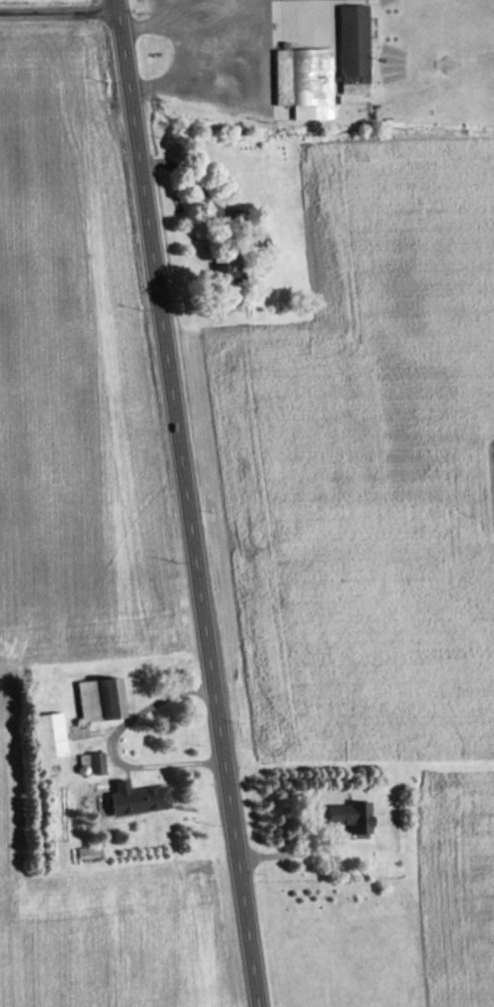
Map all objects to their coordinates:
road: (59, 10)
building: (346, 48)
road: (189, 503)
building: (100, 699)
building: (48, 735)
road: (109, 745)
building: (136, 798)
building: (352, 818)

